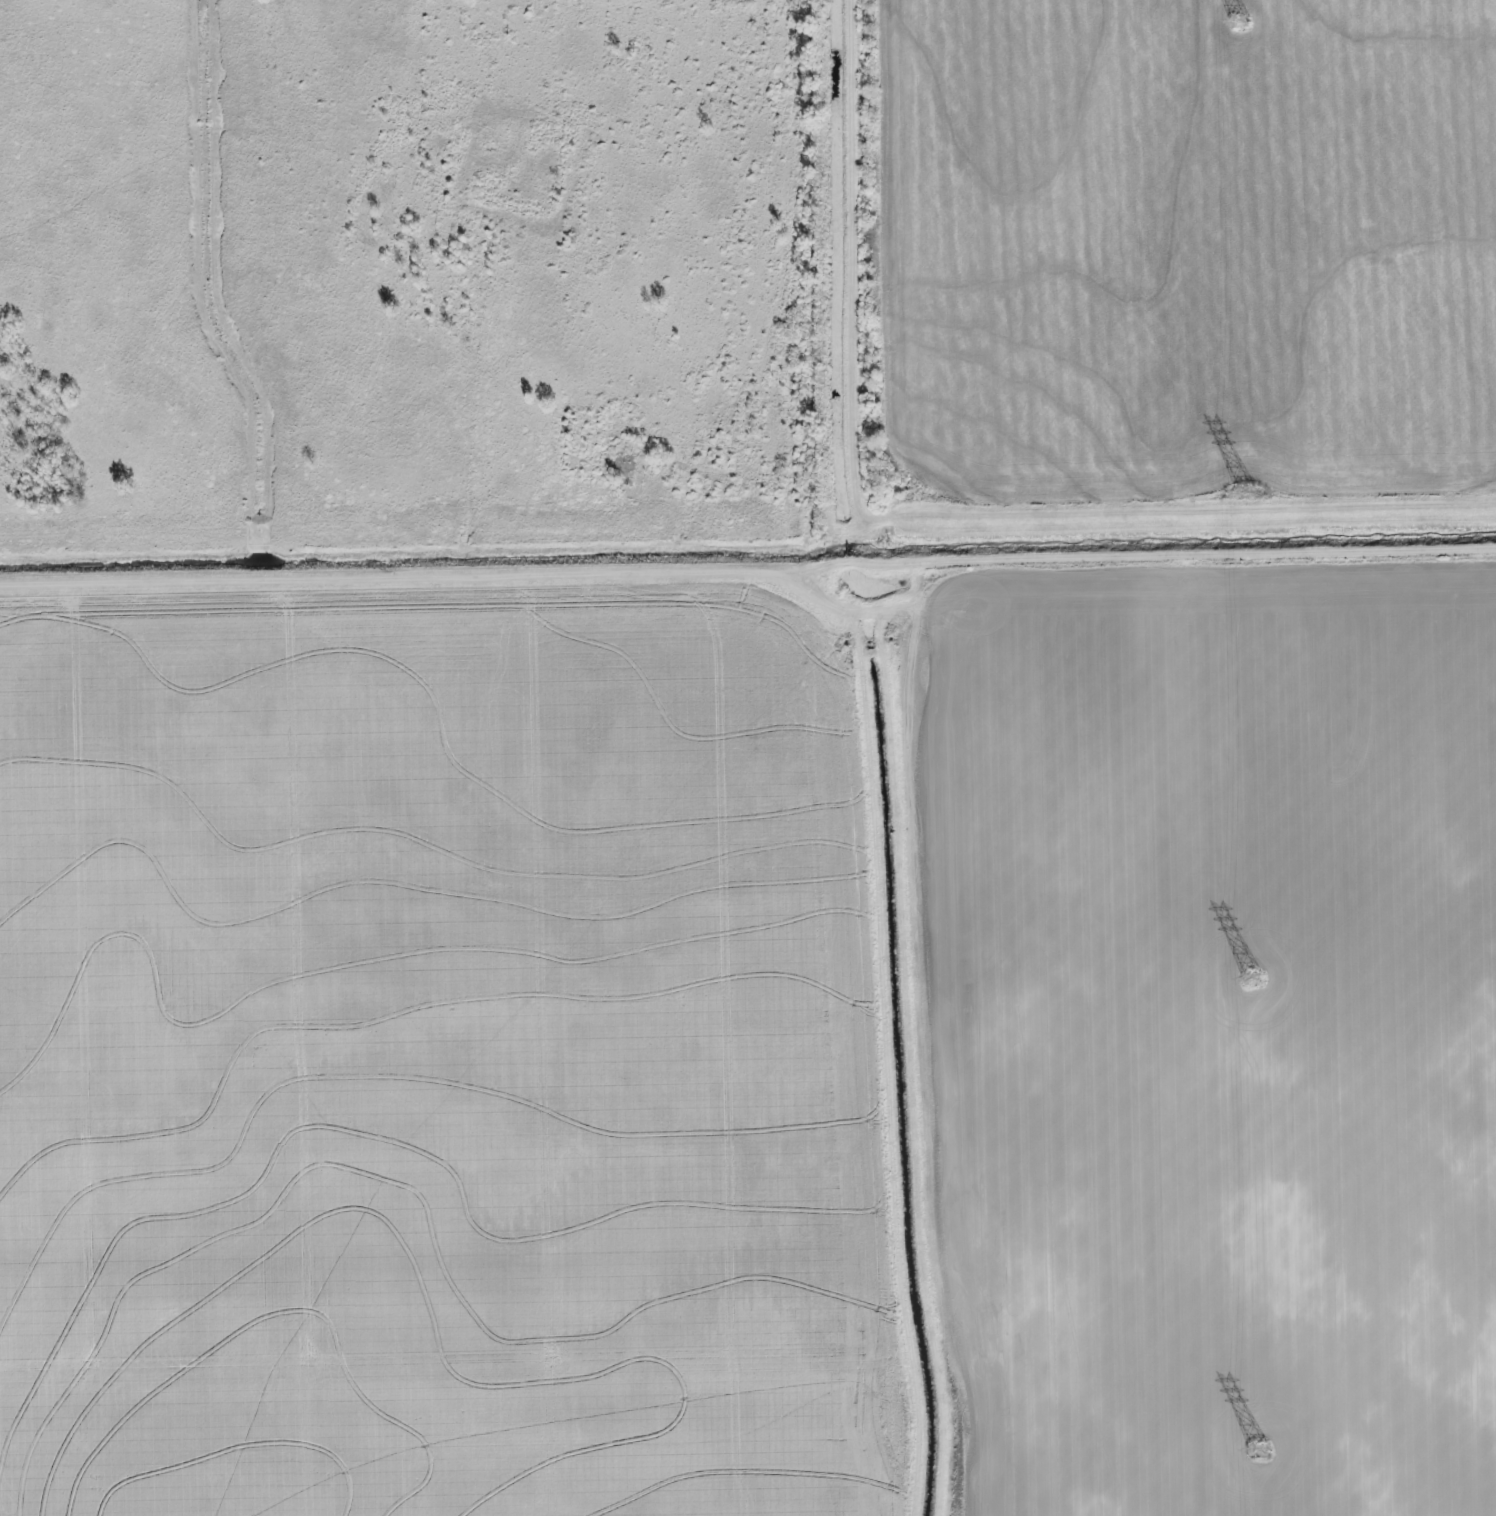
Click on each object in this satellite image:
power tower: (1240, 22)
power tower: (1246, 492)
power tower: (1252, 979)
power tower: (1259, 1450)

